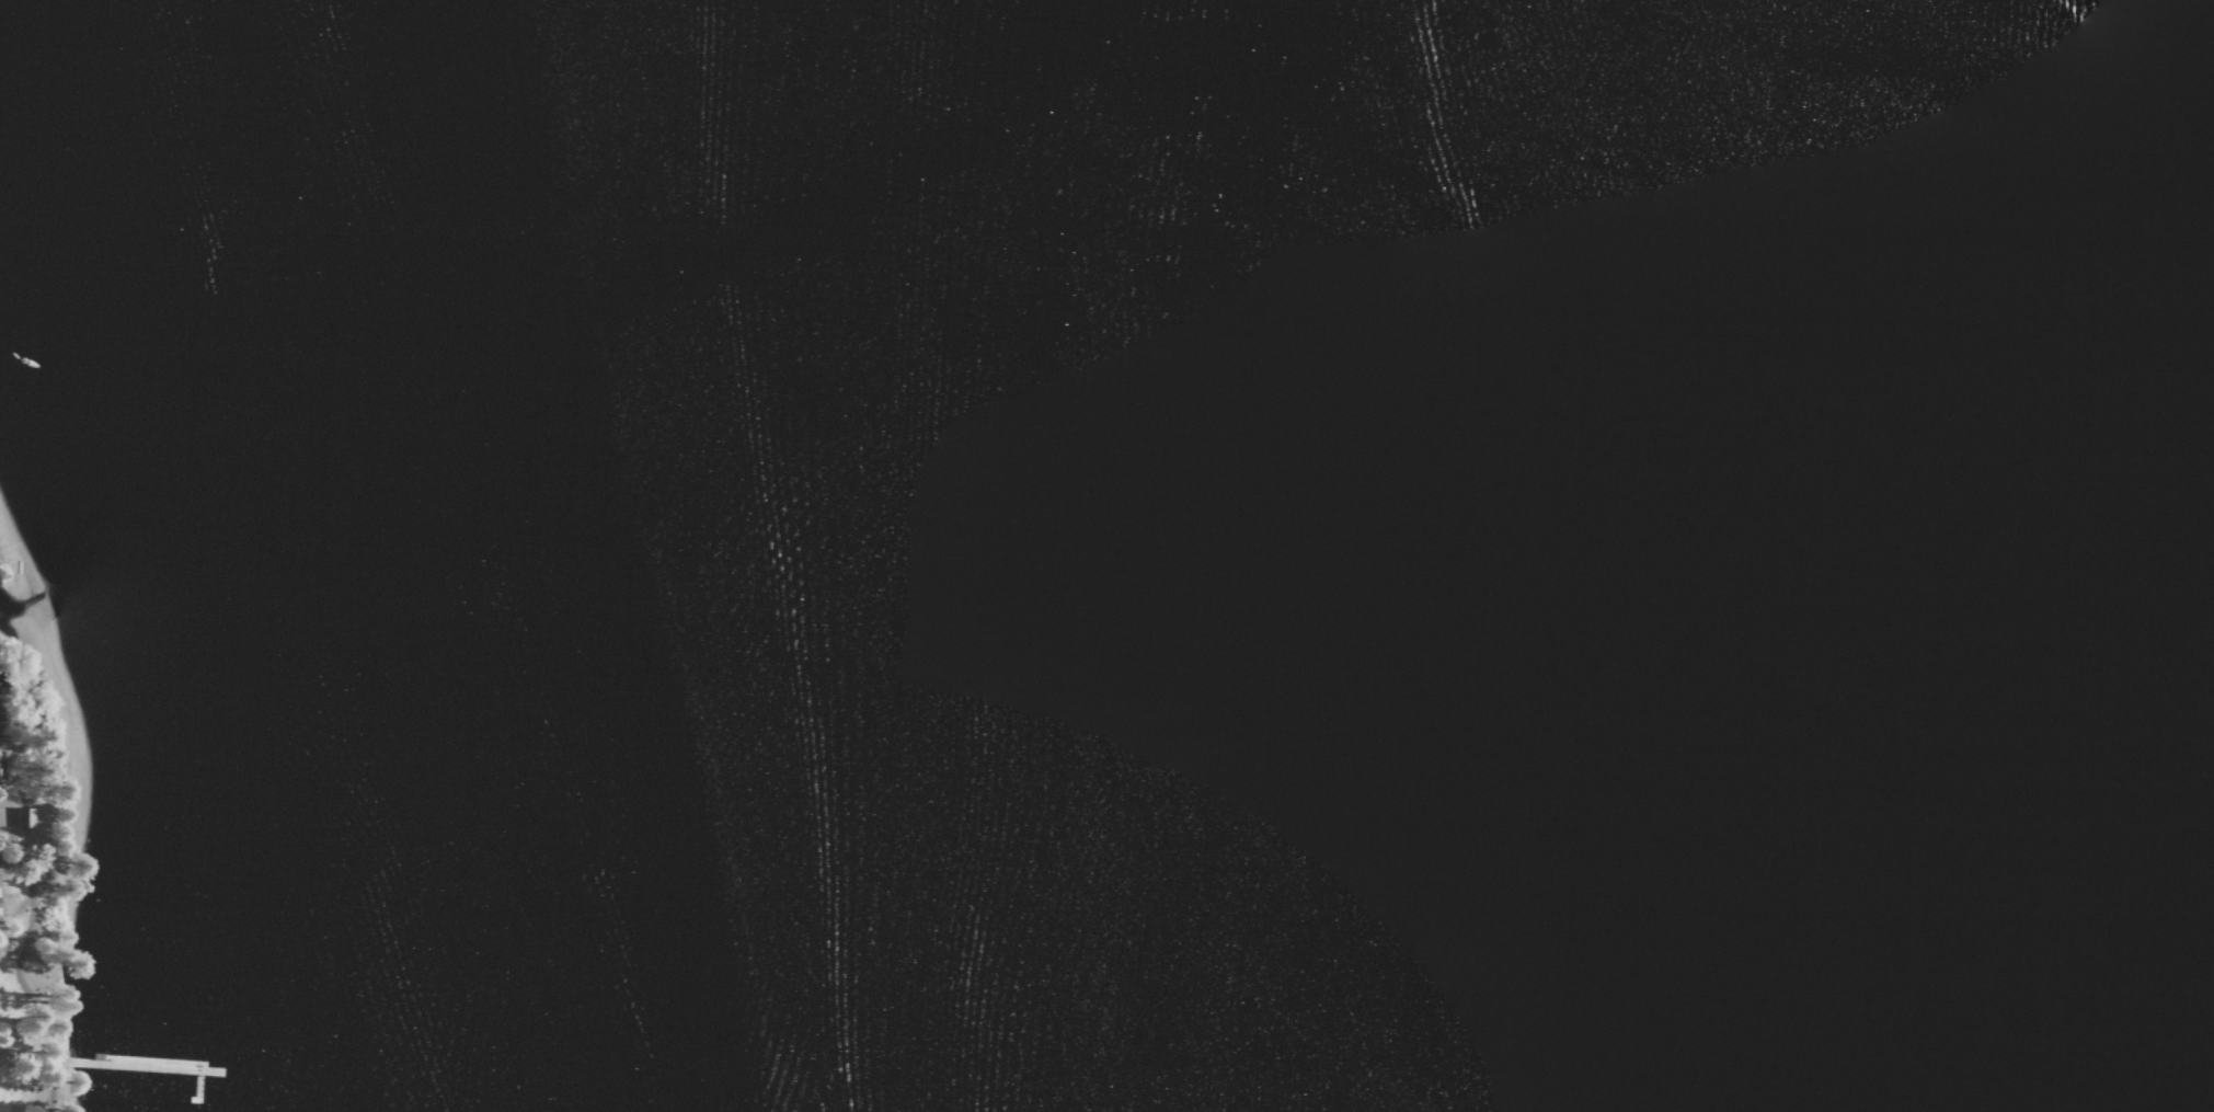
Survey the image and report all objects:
building: (31, 765)
railway: (72, 767)
building: (24, 817)
road: (8, 855)
road: (28, 988)
road: (24, 1056)
road: (59, 1061)
pier: (146, 1065)
pier: (195, 1087)

